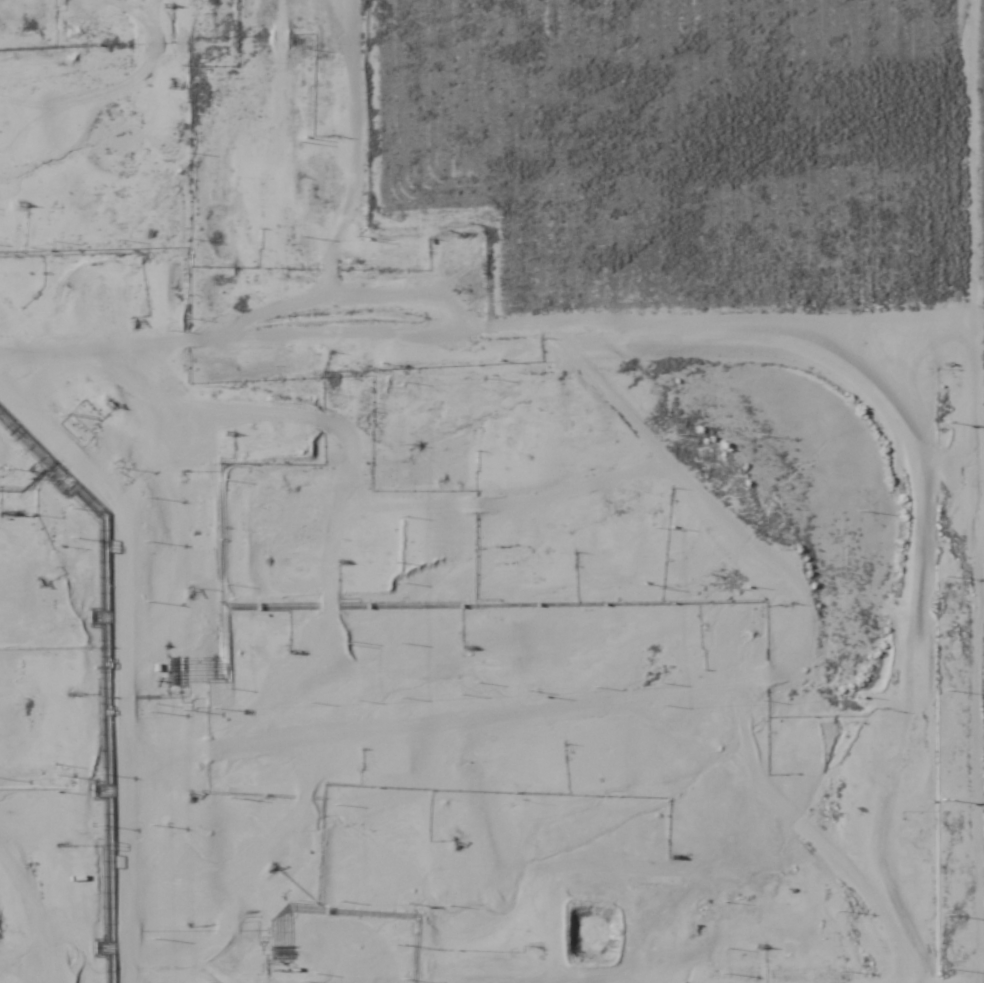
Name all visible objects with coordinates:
road: (600, 228)
wastewater plant: (300, 851)
wastewater plant: (217, 861)
wastewater plant: (133, 872)
wastewater plant: (52, 884)
wastewater plant: (3, 897)

